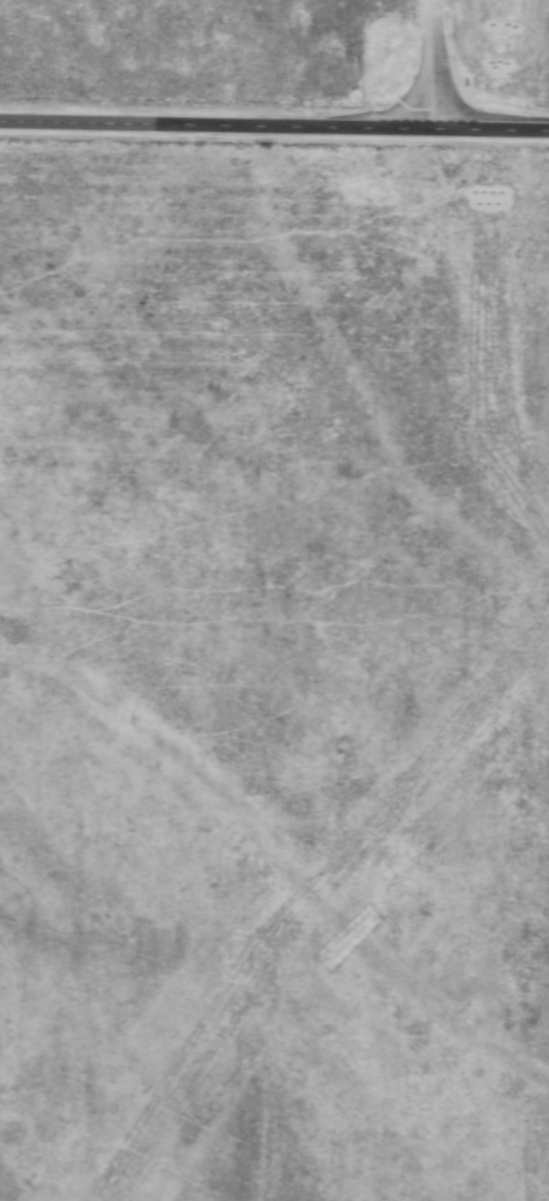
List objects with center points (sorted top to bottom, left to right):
solar farm: (541, 60)
road: (432, 61)
road: (274, 123)
solar farm: (274, 673)

